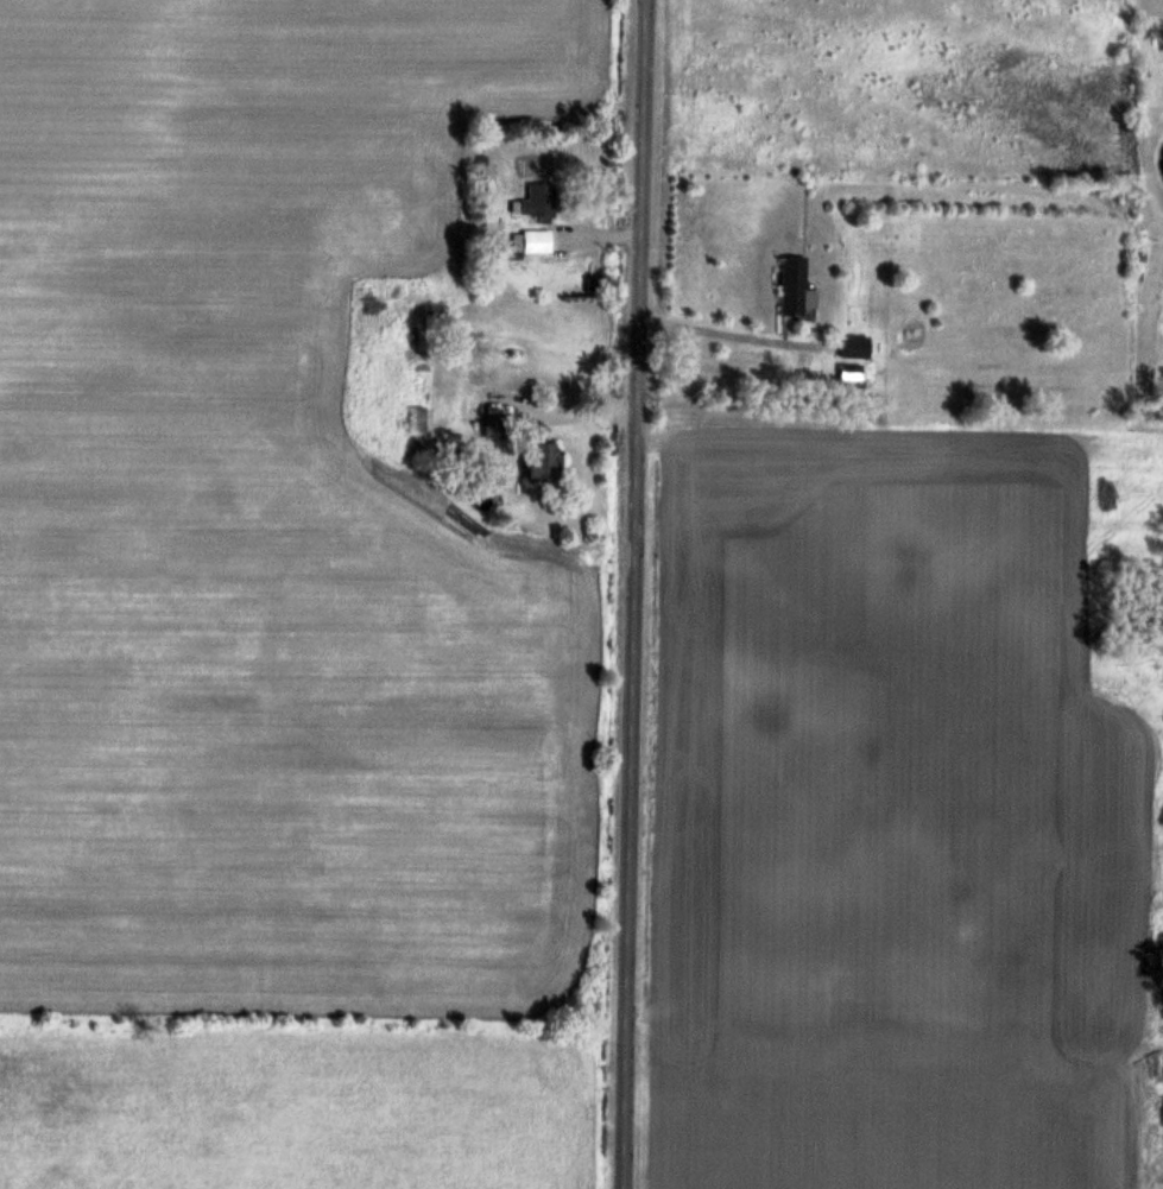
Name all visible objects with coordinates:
building: (541, 200)
building: (538, 240)
building: (795, 284)
road: (712, 331)
building: (857, 346)
building: (418, 418)
building: (548, 460)
road: (627, 594)
building: (992, 984)

